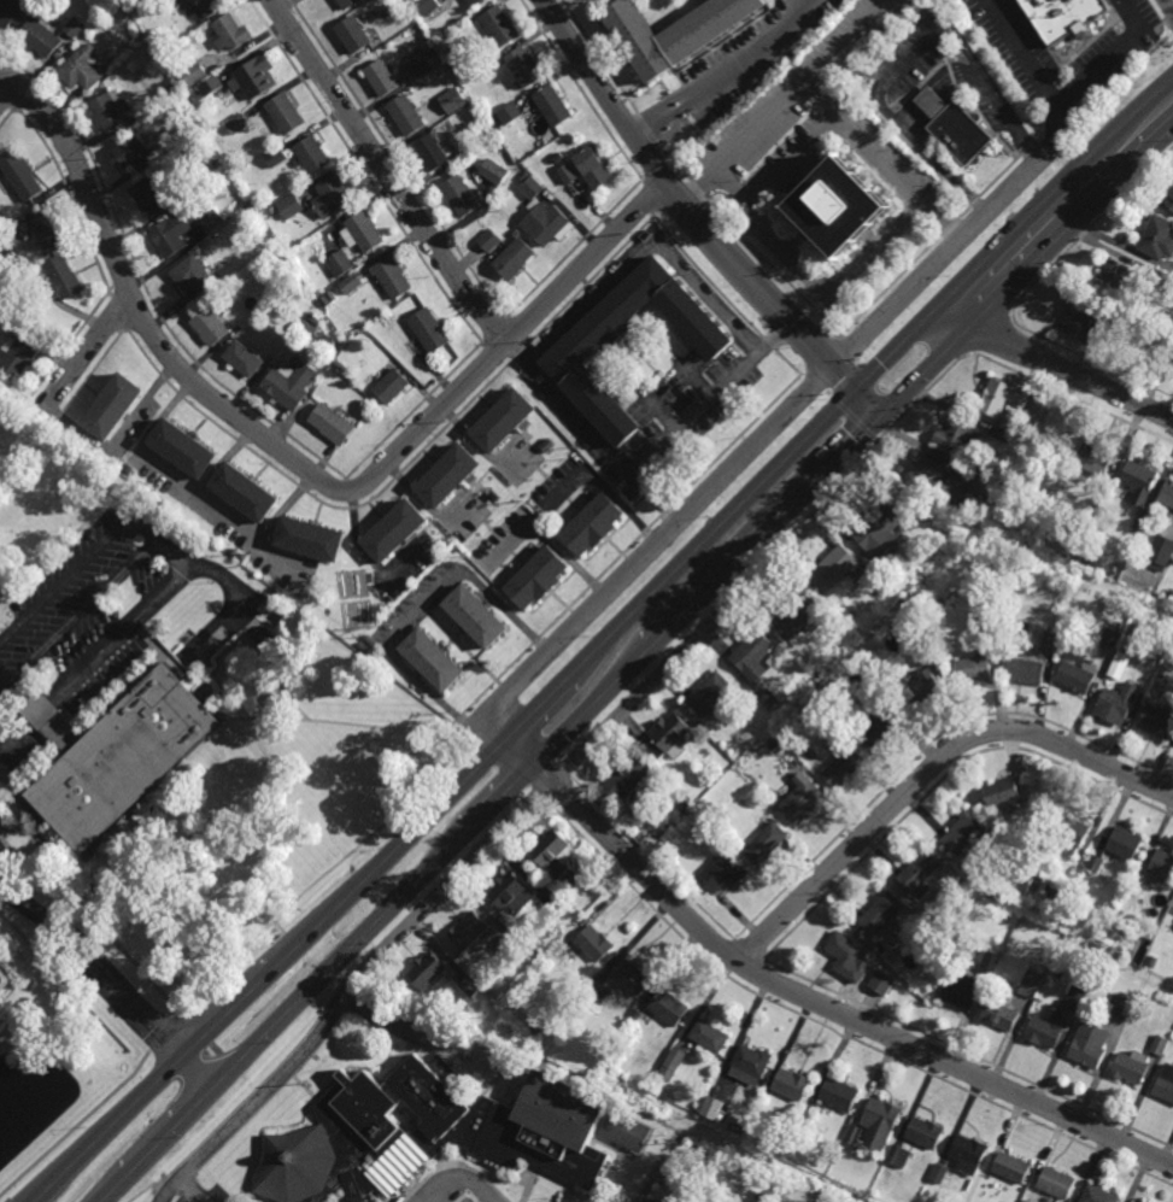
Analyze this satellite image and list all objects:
building: (145, 1)
building: (475, 2)
building: (348, 4)
building: (428, 6)
building: (133, 7)
building: (212, 7)
road: (1166, 7)
building: (11, 13)
building: (1058, 17)
building: (500, 25)
building: (75, 27)
building: (417, 30)
building: (676, 31)
building: (234, 33)
building: (354, 35)
building: (41, 37)
building: (160, 45)
road: (910, 58)
road: (1109, 59)
building: (421, 68)
building: (526, 68)
building: (83, 69)
road: (726, 72)
road: (1042, 74)
building: (194, 75)
building: (381, 77)
building: (257, 78)
building: (215, 87)
building: (172, 88)
road: (7, 90)
road: (938, 92)
building: (452, 100)
road: (787, 100)
building: (553, 106)
building: (111, 110)
building: (287, 115)
building: (511, 115)
building: (406, 116)
building: (240, 125)
building: (966, 133)
building: (495, 147)
building: (231, 149)
building: (430, 152)
building: (136, 154)
building: (313, 156)
building: (277, 157)
road: (796, 157)
building: (559, 158)
building: (219, 165)
building: (594, 169)
road: (385, 172)
building: (493, 172)
building: (569, 175)
building: (227, 177)
building: (22, 178)
building: (461, 195)
building: (152, 197)
building: (333, 197)
building: (1169, 201)
road: (685, 206)
building: (291, 209)
building: (846, 213)
building: (542, 215)
building: (270, 216)
building: (211, 221)
road: (943, 221)
building: (22, 229)
building: (49, 233)
building: (364, 233)
building: (515, 233)
road: (1014, 233)
building: (172, 236)
building: (1157, 236)
building: (213, 239)
building: (488, 241)
road: (879, 248)
building: (1, 252)
building: (512, 258)
road: (634, 258)
road: (938, 260)
building: (342, 264)
building: (392, 276)
building: (1114, 276)
building: (193, 277)
building: (1161, 278)
building: (63, 281)
building: (352, 283)
building: (230, 291)
building: (329, 298)
building: (312, 315)
building: (370, 317)
building: (1083, 321)
building: (1144, 323)
building: (211, 326)
building: (309, 327)
building: (287, 328)
building: (429, 329)
building: (311, 346)
building: (1172, 347)
building: (575, 348)
building: (329, 350)
road: (87, 352)
building: (17, 353)
building: (360, 356)
building: (244, 357)
building: (338, 363)
road: (1056, 368)
building: (333, 374)
building: (289, 382)
building: (391, 385)
traffic signals: (857, 389)
building: (1002, 395)
road: (710, 397)
road: (870, 401)
building: (115, 403)
traffic signals: (885, 415)
building: (504, 417)
building: (332, 421)
building: (960, 434)
building: (1003, 434)
building: (184, 444)
road: (854, 445)
road: (611, 455)
building: (1092, 461)
road: (294, 463)
building: (131, 470)
building: (448, 473)
building: (1139, 480)
building: (952, 482)
road: (603, 487)
building: (246, 488)
building: (1167, 493)
building: (592, 524)
building: (1137, 524)
building: (395, 528)
building: (880, 529)
building: (311, 536)
road: (547, 536)
road: (645, 551)
building: (980, 551)
building: (1160, 552)
building: (241, 557)
road: (88, 558)
road: (682, 564)
building: (833, 567)
building: (539, 577)
building: (1137, 580)
building: (901, 584)
road: (236, 602)
building: (794, 614)
building: (476, 615)
road: (81, 621)
road: (705, 627)
building: (983, 631)
building: (1109, 638)
building: (369, 640)
building: (1049, 641)
building: (363, 647)
road: (93, 652)
building: (753, 655)
building: (921, 655)
building: (433, 659)
building: (1116, 668)
building: (972, 669)
building: (1026, 669)
building: (1074, 676)
building: (862, 678)
building: (923, 686)
building: (710, 693)
building: (280, 696)
building: (768, 699)
building: (1116, 703)
building: (1157, 721)
building: (878, 723)
building: (670, 735)
road: (522, 751)
building: (121, 754)
building: (843, 766)
road: (927, 770)
road: (544, 774)
building: (624, 776)
building: (1002, 791)
building: (772, 801)
building: (800, 801)
building: (682, 802)
building: (711, 807)
building: (964, 832)
building: (1069, 832)
building: (766, 842)
building: (1125, 843)
building: (553, 852)
building: (1043, 854)
building: (1095, 863)
building: (1159, 869)
building: (920, 870)
building: (720, 873)
road: (459, 876)
building: (1133, 887)
building: (511, 892)
building: (999, 897)
building: (881, 911)
building: (503, 917)
building: (468, 930)
building: (594, 942)
building: (881, 948)
building: (511, 949)
building: (848, 956)
building: (1151, 961)
building: (990, 962)
road: (274, 971)
building: (428, 971)
road: (106, 974)
building: (631, 975)
road: (317, 981)
building: (882, 983)
building: (1031, 984)
building: (5, 985)
building: (469, 985)
building: (960, 989)
building: (594, 992)
building: (1075, 997)
building: (1121, 1005)
building: (669, 1007)
building: (635, 1013)
road: (837, 1013)
building: (1002, 1015)
building: (539, 1027)
building: (1044, 1032)
building: (710, 1036)
building: (1089, 1045)
building: (1160, 1045)
building: (751, 1061)
building: (673, 1065)
building: (1131, 1067)
building: (791, 1081)
building: (1165, 1083)
road: (269, 1087)
building: (840, 1091)
building: (758, 1107)
building: (712, 1108)
building: (738, 1120)
building: (881, 1121)
building: (803, 1128)
building: (926, 1130)
building: (854, 1132)
building: (458, 1141)
building: (797, 1144)
building: (899, 1153)
building: (968, 1153)
building: (1013, 1166)
building: (943, 1173)
road: (452, 1179)
building: (1057, 1182)
road: (192, 1191)
building: (1099, 1194)
building: (758, 1195)
road: (435, 1196)
building: (652, 1198)
building: (358, 1200)
building: (1027, 1200)
building: (1133, 1201)

